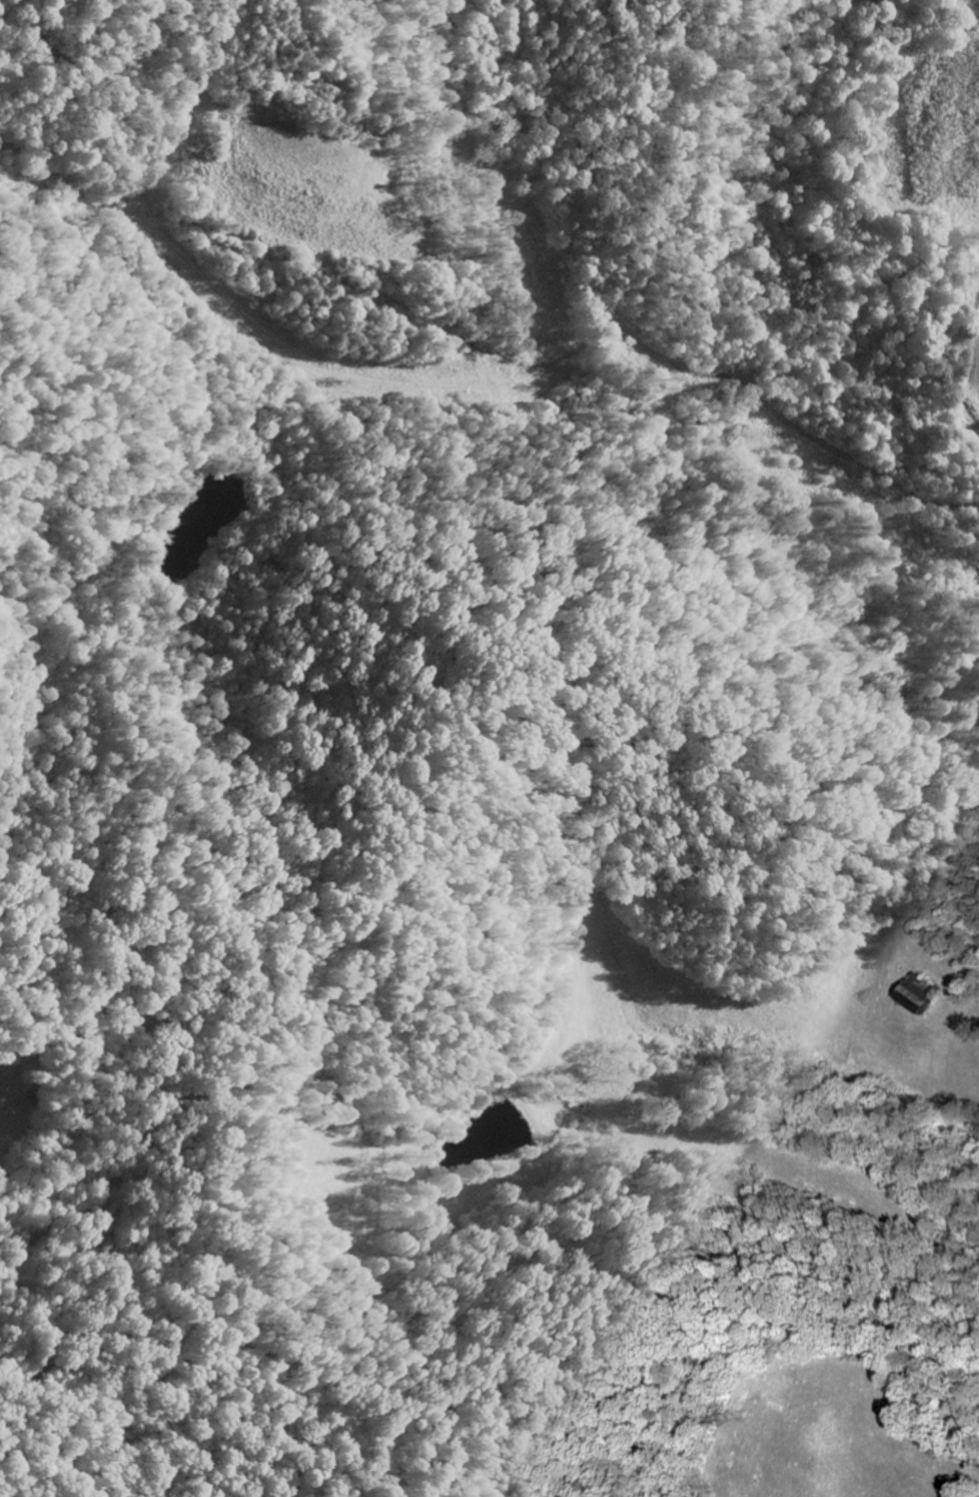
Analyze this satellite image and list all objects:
building: (922, 995)

